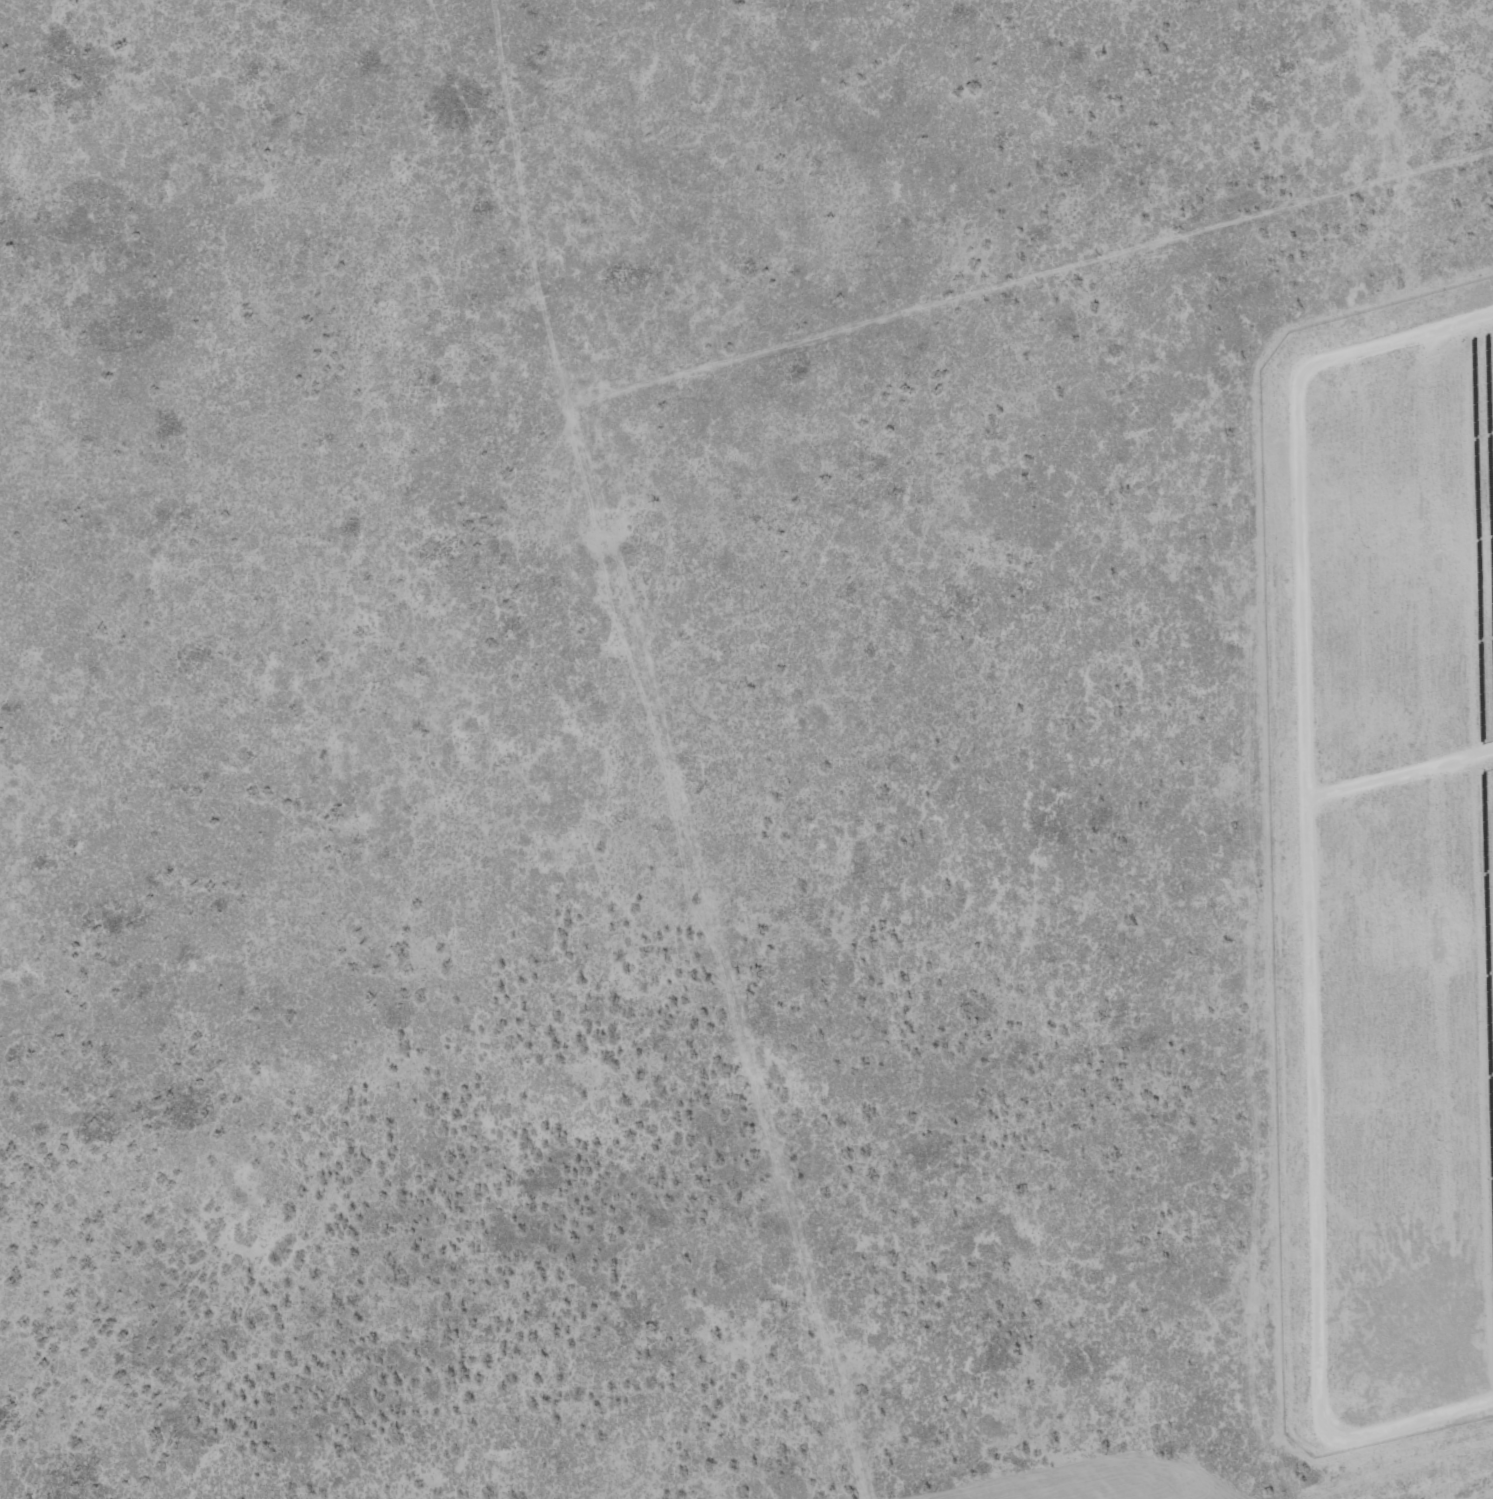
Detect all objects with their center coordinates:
solar farm: (1383, 858)

